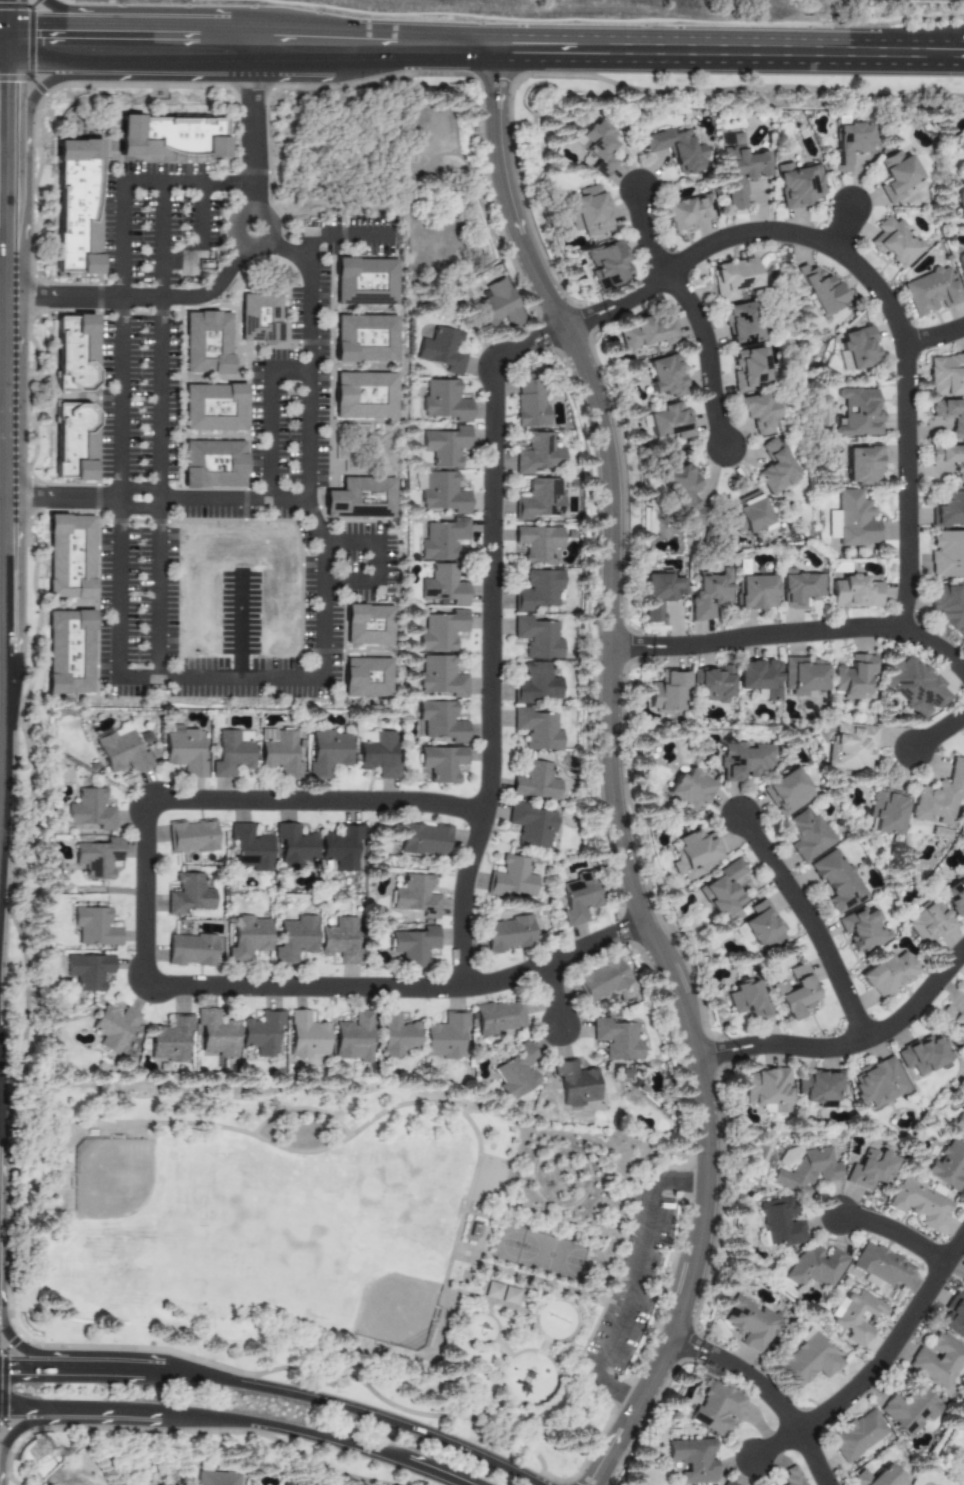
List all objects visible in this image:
road: (12, 22)
road: (97, 24)
road: (731, 29)
road: (6, 41)
traffic signals: (44, 46)
road: (80, 46)
road: (6, 47)
road: (556, 56)
road: (65, 75)
traffic signals: (12, 92)
road: (12, 93)
road: (253, 112)
building: (128, 136)
building: (848, 142)
building: (596, 147)
building: (960, 147)
building: (674, 150)
building: (739, 171)
building: (896, 176)
road: (11, 183)
building: (797, 185)
road: (252, 195)
building: (959, 200)
building: (76, 207)
building: (587, 211)
building: (688, 212)
road: (265, 225)
road: (844, 227)
road: (198, 233)
road: (643, 234)
road: (9, 237)
road: (341, 238)
building: (894, 242)
road: (284, 248)
building: (607, 264)
building: (961, 266)
road: (116, 270)
building: (733, 278)
building: (365, 282)
road: (877, 287)
building: (821, 289)
building: (931, 291)
road: (141, 298)
building: (498, 304)
road: (307, 312)
building: (259, 318)
building: (740, 324)
building: (643, 333)
building: (365, 338)
road: (935, 339)
building: (207, 343)
building: (858, 348)
building: (443, 350)
building: (75, 353)
road: (709, 355)
road: (288, 368)
building: (749, 368)
road: (9, 373)
building: (946, 375)
building: (665, 376)
building: (364, 395)
building: (529, 400)
building: (445, 401)
building: (214, 407)
building: (759, 412)
building: (858, 414)
building: (950, 415)
building: (669, 422)
road: (162, 426)
building: (73, 441)
building: (446, 446)
building: (538, 454)
building: (950, 461)
building: (213, 464)
building: (863, 465)
building: (775, 468)
building: (442, 492)
building: (683, 494)
road: (5, 496)
road: (159, 499)
building: (361, 499)
building: (541, 499)
building: (949, 510)
building: (749, 516)
building: (855, 520)
building: (444, 539)
building: (538, 543)
building: (947, 554)
building: (69, 557)
road: (380, 560)
road: (9, 575)
building: (444, 585)
building: (798, 588)
building: (539, 590)
building: (854, 592)
building: (658, 593)
building: (754, 593)
building: (709, 594)
building: (948, 605)
building: (369, 625)
building: (443, 631)
road: (795, 634)
road: (495, 637)
building: (538, 638)
building: (69, 652)
building: (803, 675)
road: (178, 676)
building: (369, 677)
building: (442, 677)
building: (760, 677)
building: (853, 677)
building: (537, 684)
building: (712, 684)
building: (914, 686)
building: (668, 692)
building: (442, 721)
building: (537, 729)
road: (940, 735)
building: (851, 747)
building: (122, 750)
building: (184, 751)
building: (281, 752)
building: (330, 752)
building: (232, 753)
building: (380, 755)
building: (743, 760)
building: (442, 763)
road: (5, 770)
road: (616, 781)
building: (536, 782)
building: (688, 790)
building: (786, 791)
building: (940, 797)
building: (91, 810)
building: (887, 812)
building: (531, 825)
building: (940, 833)
building: (806, 834)
building: (193, 836)
building: (425, 840)
building: (295, 847)
building: (250, 848)
building: (345, 848)
building: (693, 854)
building: (98, 858)
building: (512, 877)
building: (836, 881)
building: (720, 890)
building: (190, 895)
building: (416, 896)
building: (578, 897)
building: (954, 897)
building: (929, 921)
building: (760, 926)
building: (95, 927)
road: (811, 928)
building: (862, 930)
building: (508, 934)
building: (249, 938)
building: (295, 939)
building: (341, 941)
building: (415, 946)
building: (191, 950)
building: (89, 971)
building: (888, 974)
building: (601, 980)
road: (150, 982)
building: (794, 992)
road: (557, 998)
building: (747, 1000)
building: (951, 1022)
building: (114, 1028)
building: (263, 1033)
building: (217, 1034)
building: (397, 1035)
building: (308, 1036)
building: (446, 1037)
building: (355, 1038)
building: (616, 1039)
building: (172, 1040)
road: (851, 1047)
building: (923, 1055)
building: (516, 1071)
building: (878, 1082)
building: (575, 1084)
building: (819, 1087)
building: (767, 1089)
road: (369, 1121)
building: (957, 1125)
road: (62, 1160)
building: (948, 1165)
building: (870, 1169)
building: (806, 1171)
park: (111, 1178)
building: (918, 1202)
building: (779, 1223)
building: (474, 1230)
road: (898, 1234)
park: (350, 1242)
park: (539, 1251)
building: (815, 1267)
building: (881, 1267)
road: (633, 1283)
building: (963, 1283)
building: (502, 1293)
park: (396, 1311)
building: (855, 1315)
building: (953, 1316)
building: (750, 1324)
road: (25, 1349)
road: (895, 1351)
road: (422, 1354)
road: (348, 1356)
building: (809, 1361)
building: (937, 1361)
traffic signals: (14, 1367)
road: (32, 1367)
road: (103, 1368)
road: (152, 1370)
road: (768, 1398)
road: (30, 1408)
road: (359, 1409)
building: (716, 1409)
road: (111, 1410)
building: (909, 1410)
road: (160, 1411)
road: (453, 1416)
road: (25, 1424)
building: (857, 1435)
road: (309, 1438)
road: (777, 1446)
power tower: (42, 1450)
building: (691, 1460)
building: (790, 1477)
building: (876, 1477)
building: (216, 1478)
building: (723, 1483)
building: (165, 1484)

